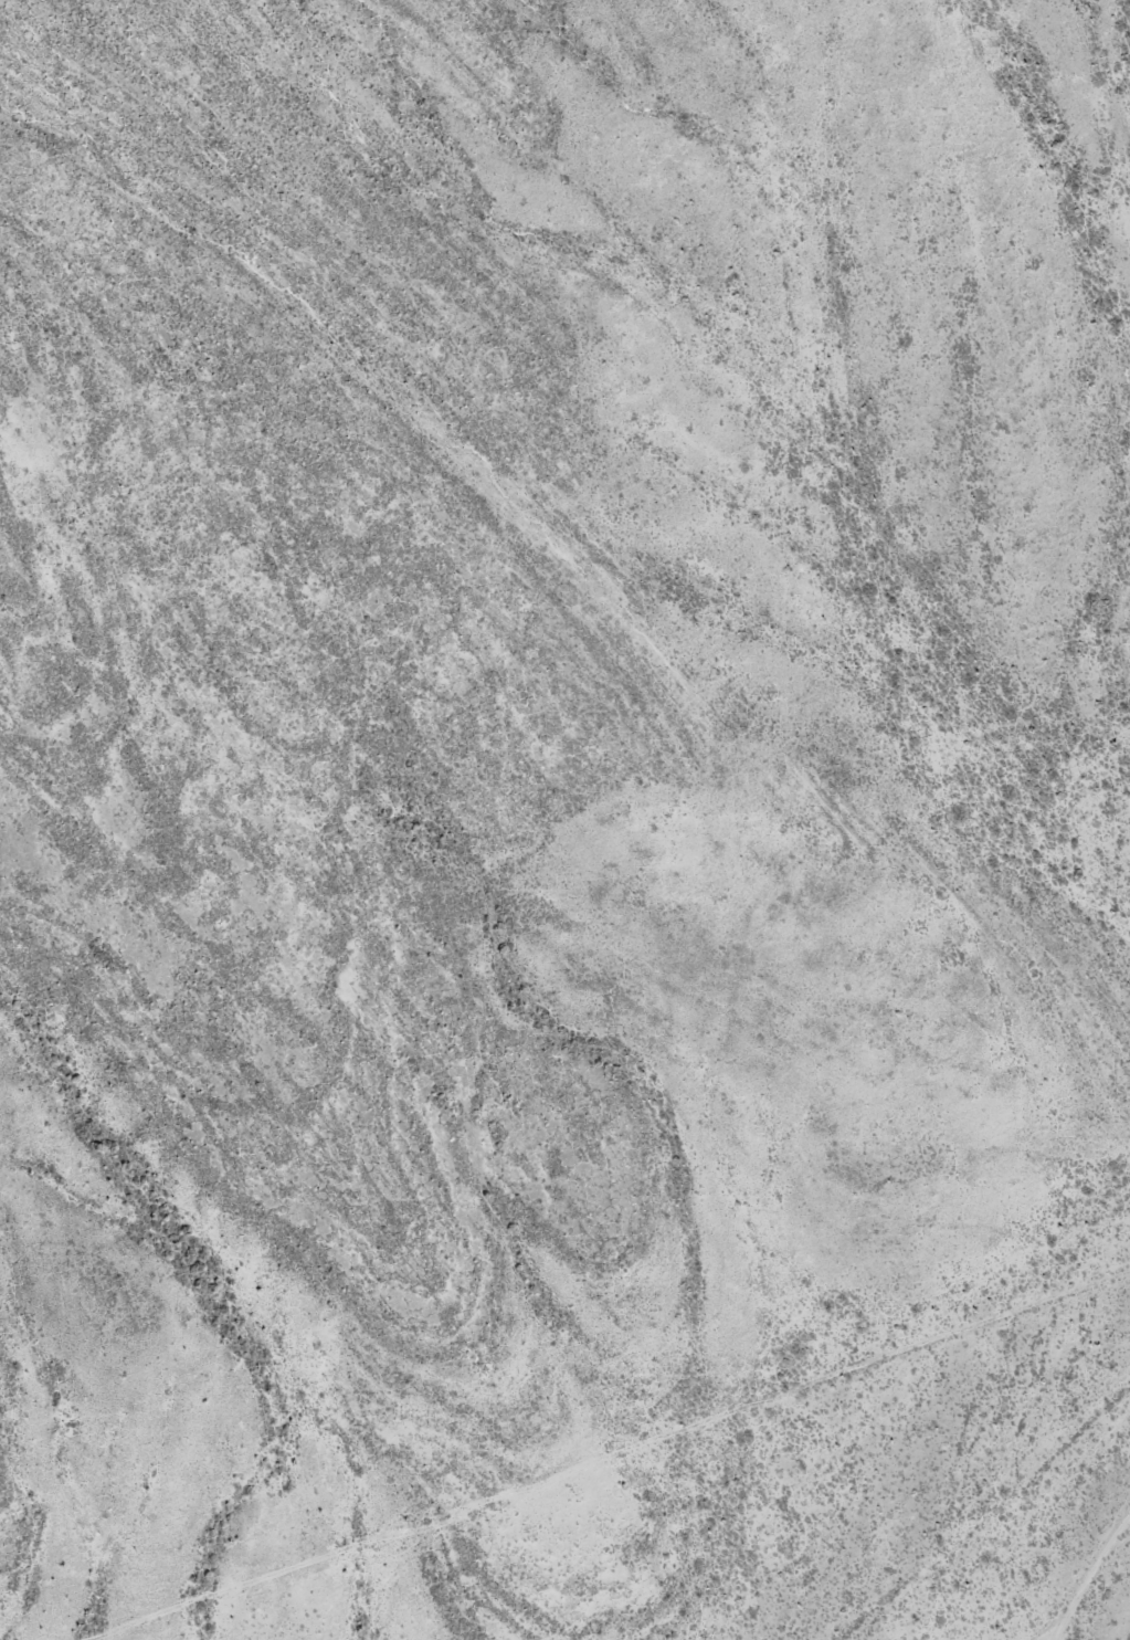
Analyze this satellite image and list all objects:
road: (592, 1420)
road: (1094, 1588)

